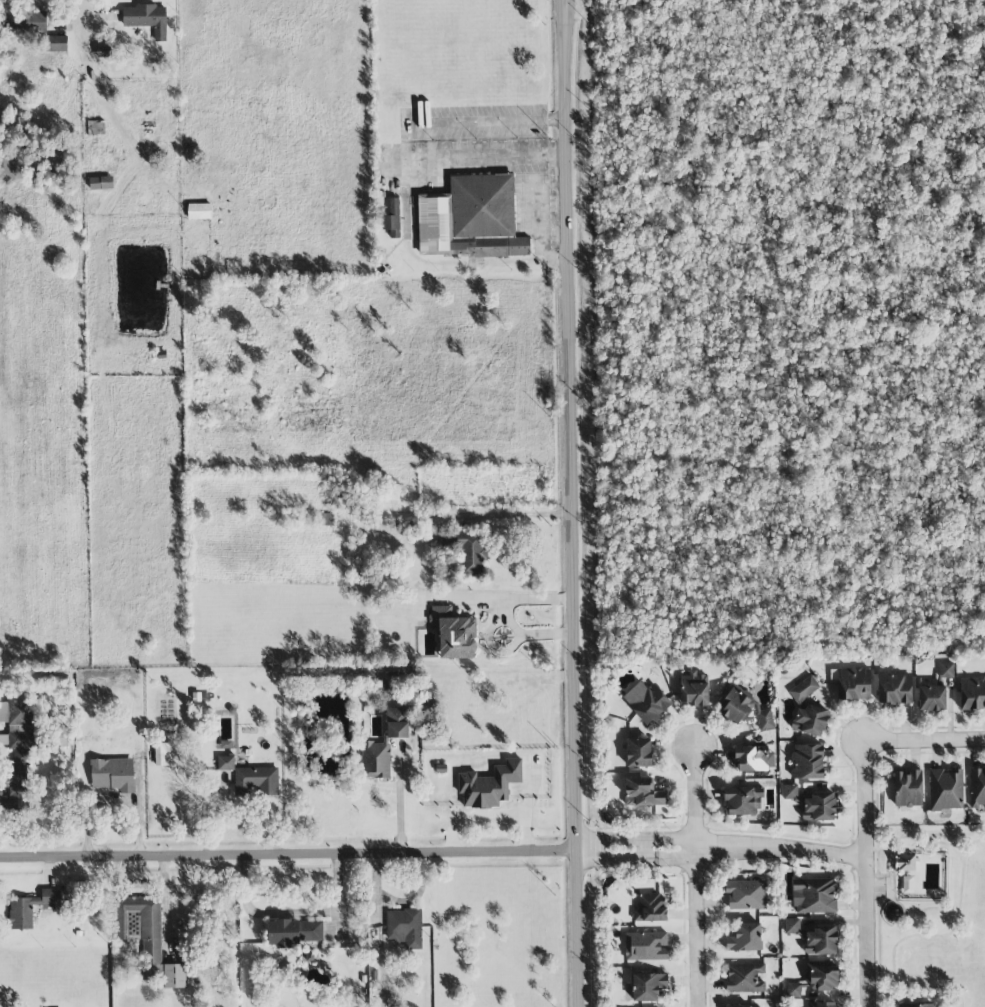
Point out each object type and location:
road: (83, 13)
building: (146, 18)
building: (23, 21)
building: (56, 44)
road: (482, 154)
road: (530, 162)
road: (548, 182)
building: (100, 183)
road: (531, 199)
building: (199, 211)
building: (472, 217)
building: (392, 218)
road: (539, 250)
road: (570, 503)
road: (591, 503)
road: (499, 515)
building: (466, 551)
road: (507, 615)
building: (453, 634)
building: (945, 670)
building: (853, 683)
building: (893, 688)
building: (693, 689)
building: (972, 693)
building: (932, 698)
building: (647, 701)
building: (738, 704)
building: (808, 709)
building: (16, 711)
building: (765, 719)
building: (396, 722)
road: (923, 737)
building: (638, 752)
building: (163, 754)
building: (751, 758)
building: (374, 760)
building: (807, 761)
building: (225, 762)
building: (17, 769)
building: (112, 774)
building: (256, 782)
building: (489, 785)
building: (907, 788)
building: (977, 788)
road: (530, 789)
building: (945, 789)
building: (789, 791)
building: (642, 792)
road: (115, 796)
building: (742, 800)
road: (400, 803)
building: (819, 806)
road: (489, 815)
road: (876, 828)
road: (637, 838)
road: (918, 840)
road: (780, 847)
road: (288, 855)
road: (637, 858)
building: (905, 862)
road: (886, 864)
road: (865, 872)
road: (893, 875)
road: (696, 876)
building: (906, 884)
building: (746, 894)
building: (814, 895)
road: (883, 907)
building: (30, 908)
building: (650, 908)
road: (970, 925)
building: (791, 926)
building: (405, 927)
building: (292, 932)
road: (919, 934)
building: (148, 938)
building: (744, 938)
building: (820, 940)
building: (646, 946)
building: (821, 975)
building: (745, 978)
building: (647, 986)
building: (793, 990)
building: (821, 1004)
building: (916, 1004)
building: (743, 1005)

